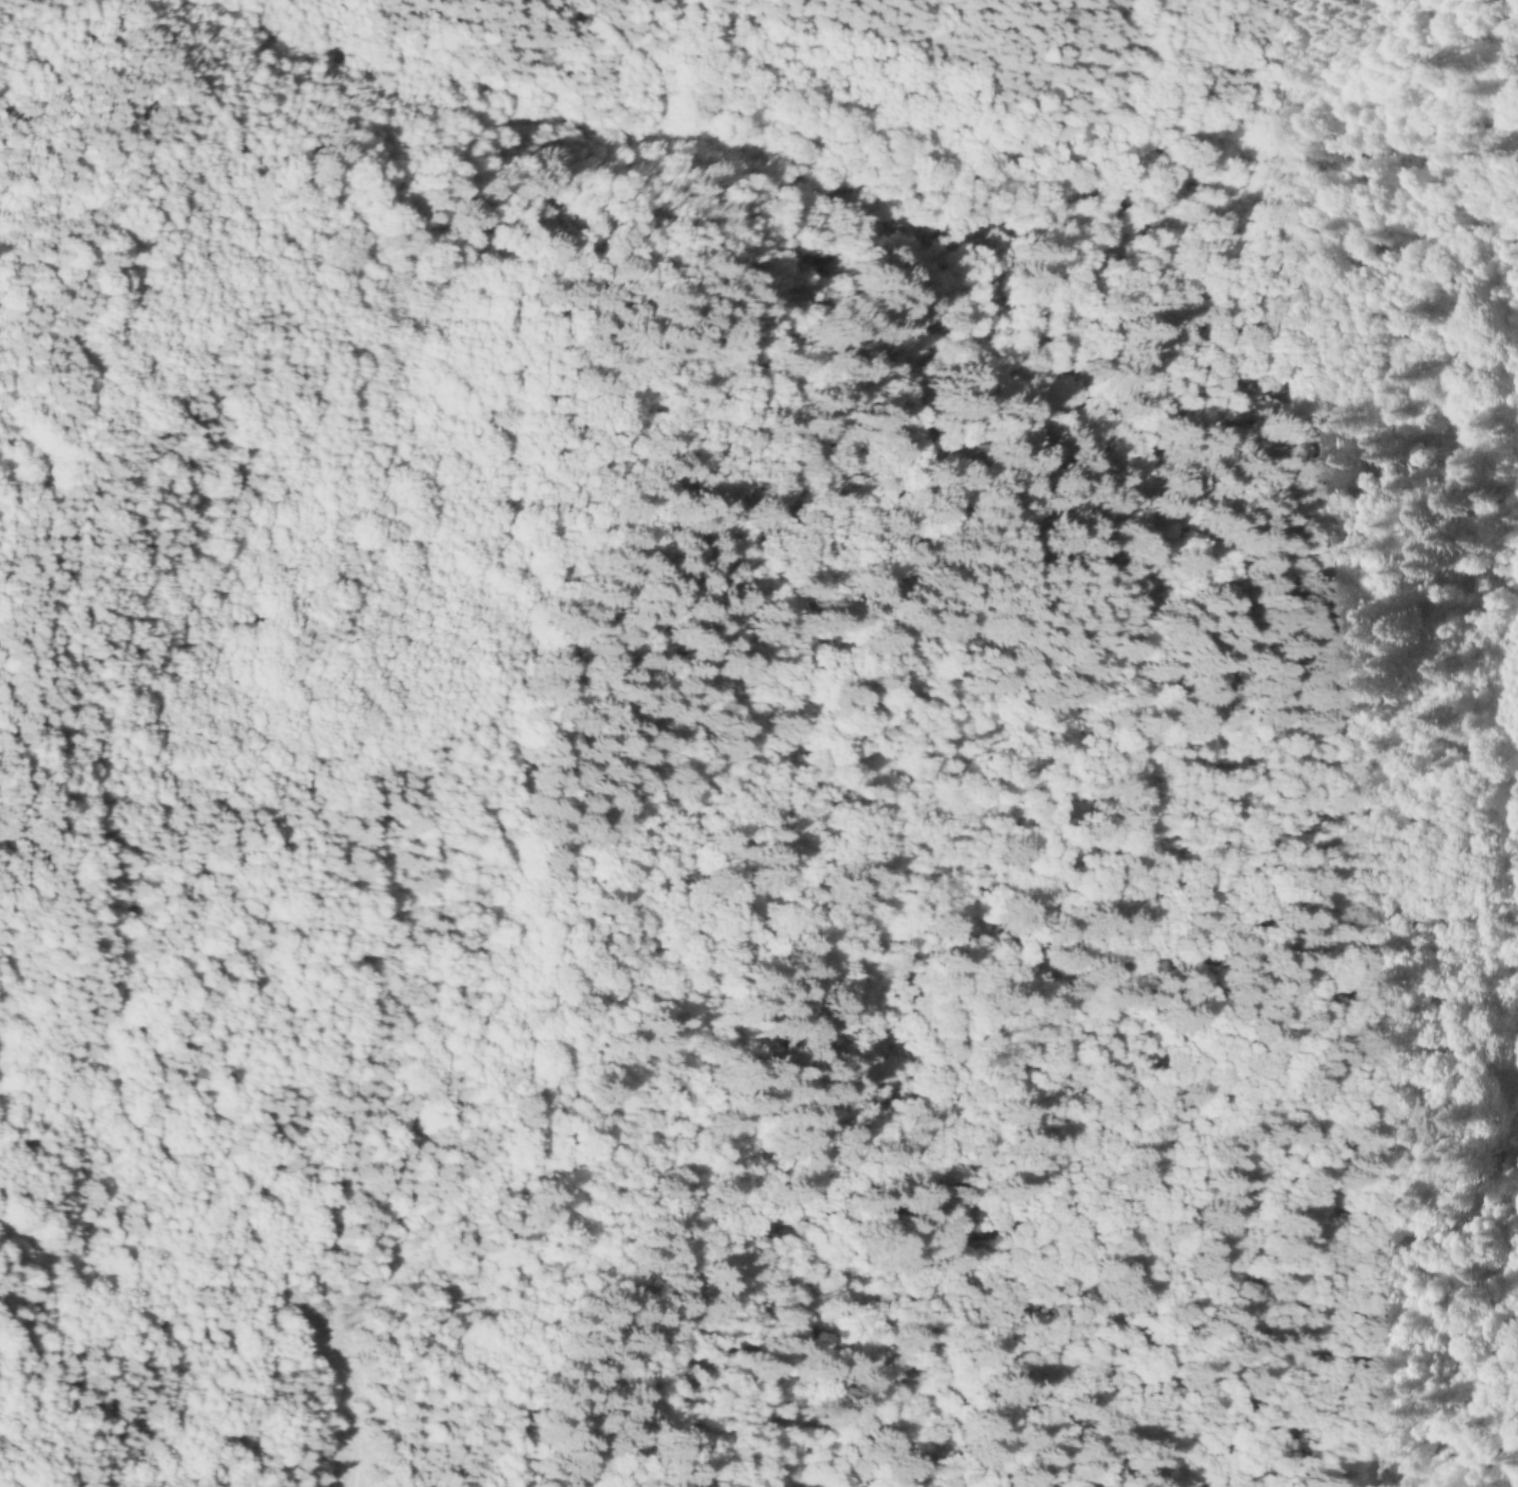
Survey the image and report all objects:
road: (177, 104)
road: (942, 341)
road: (1459, 1401)

